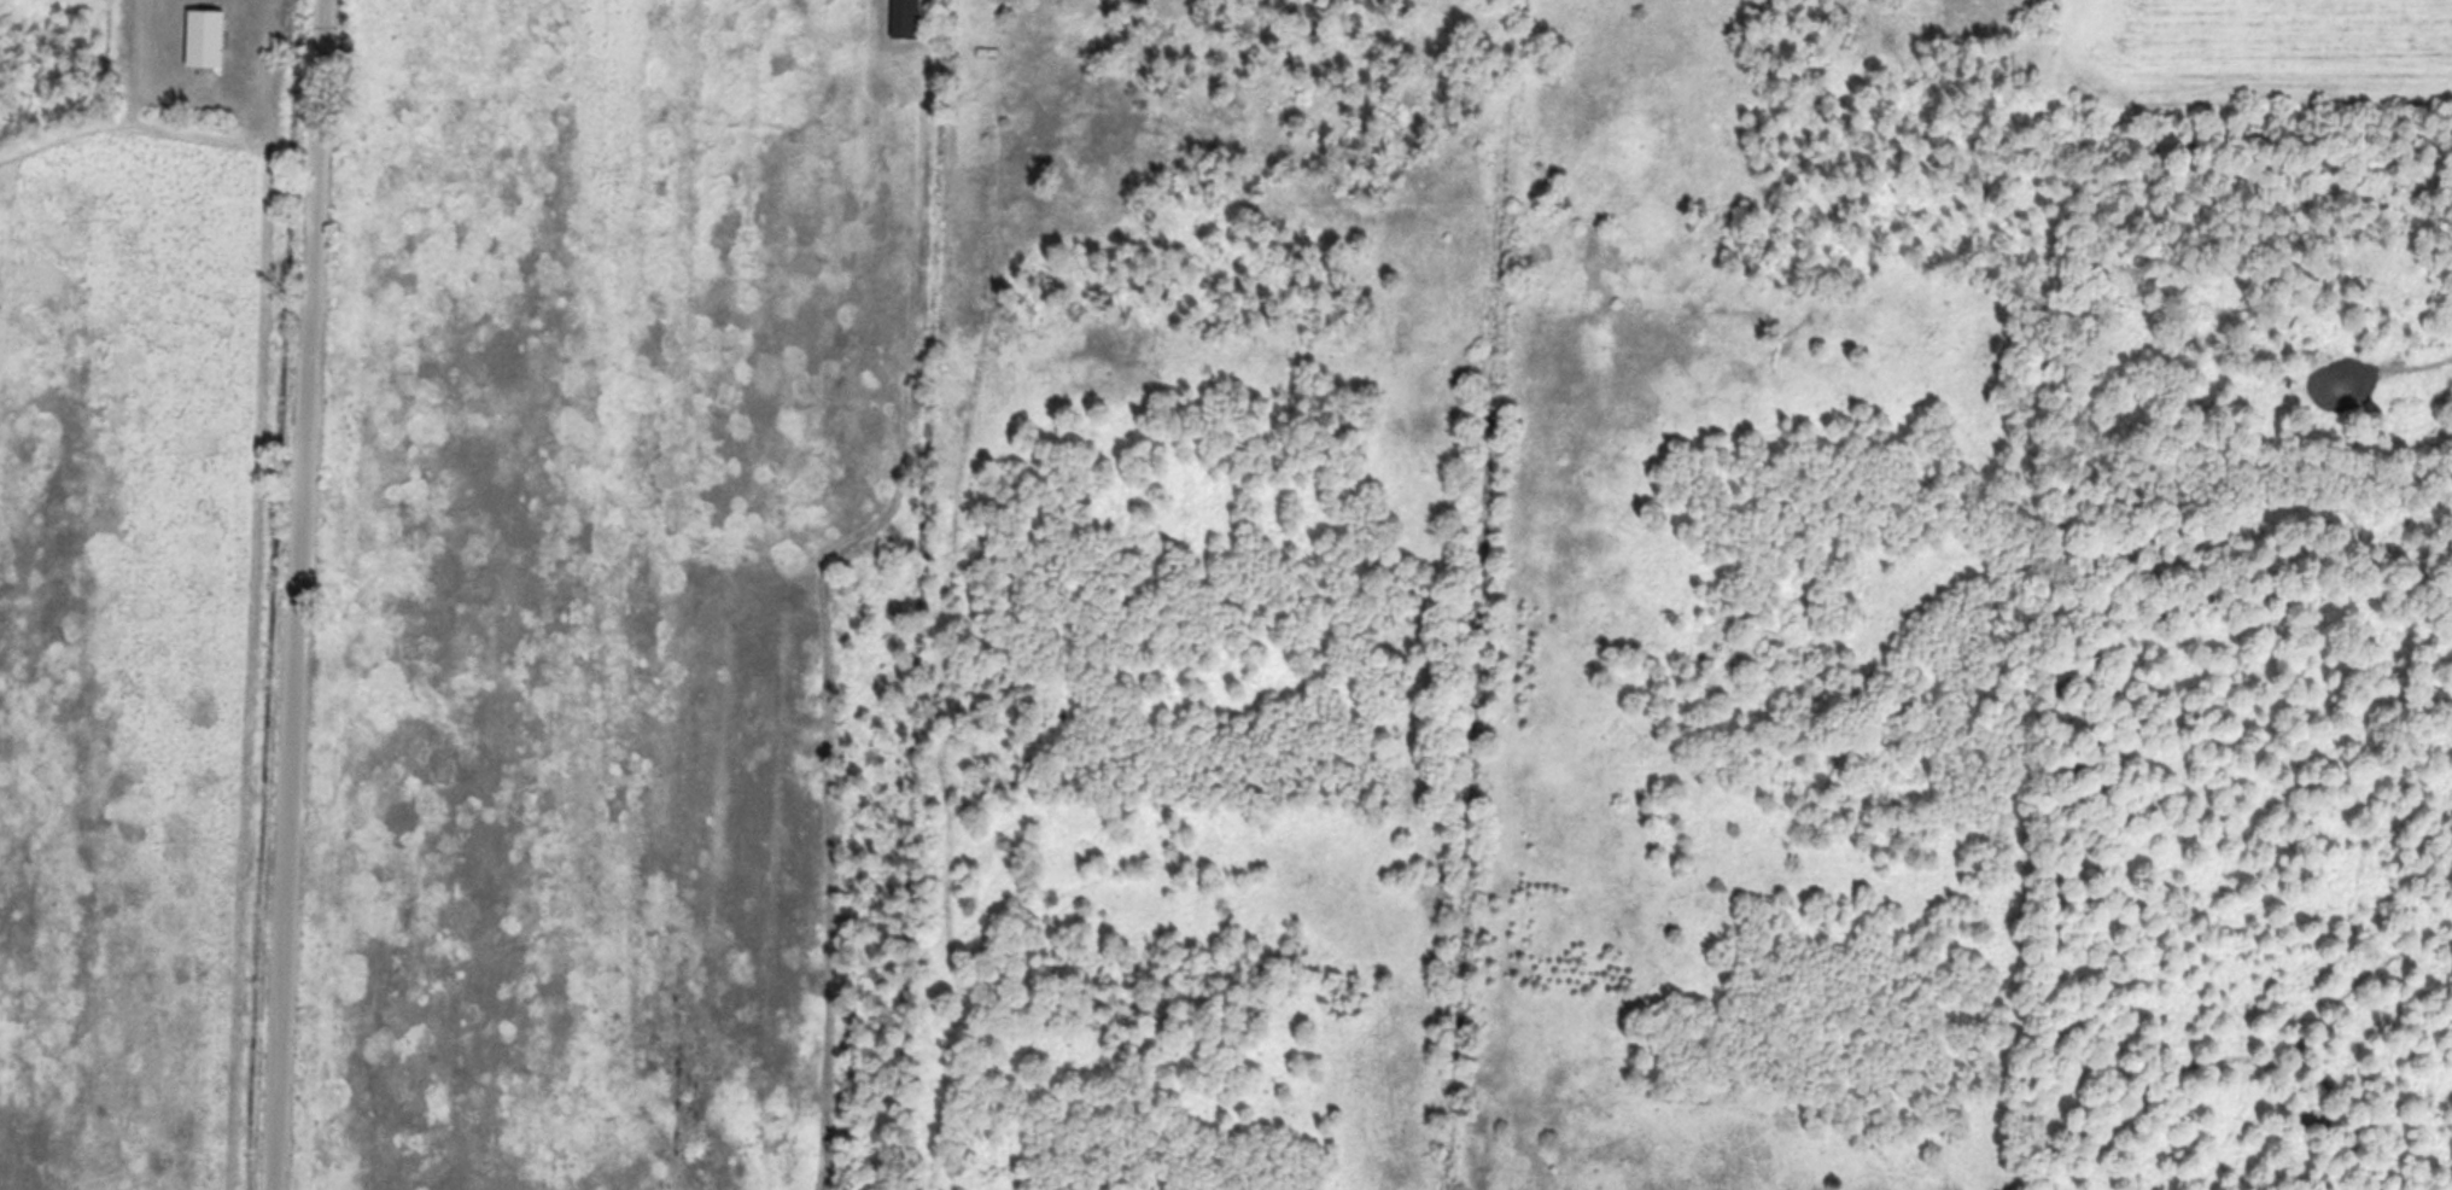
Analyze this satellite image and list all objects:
building: (901, 17)
building: (200, 36)
road: (298, 594)

